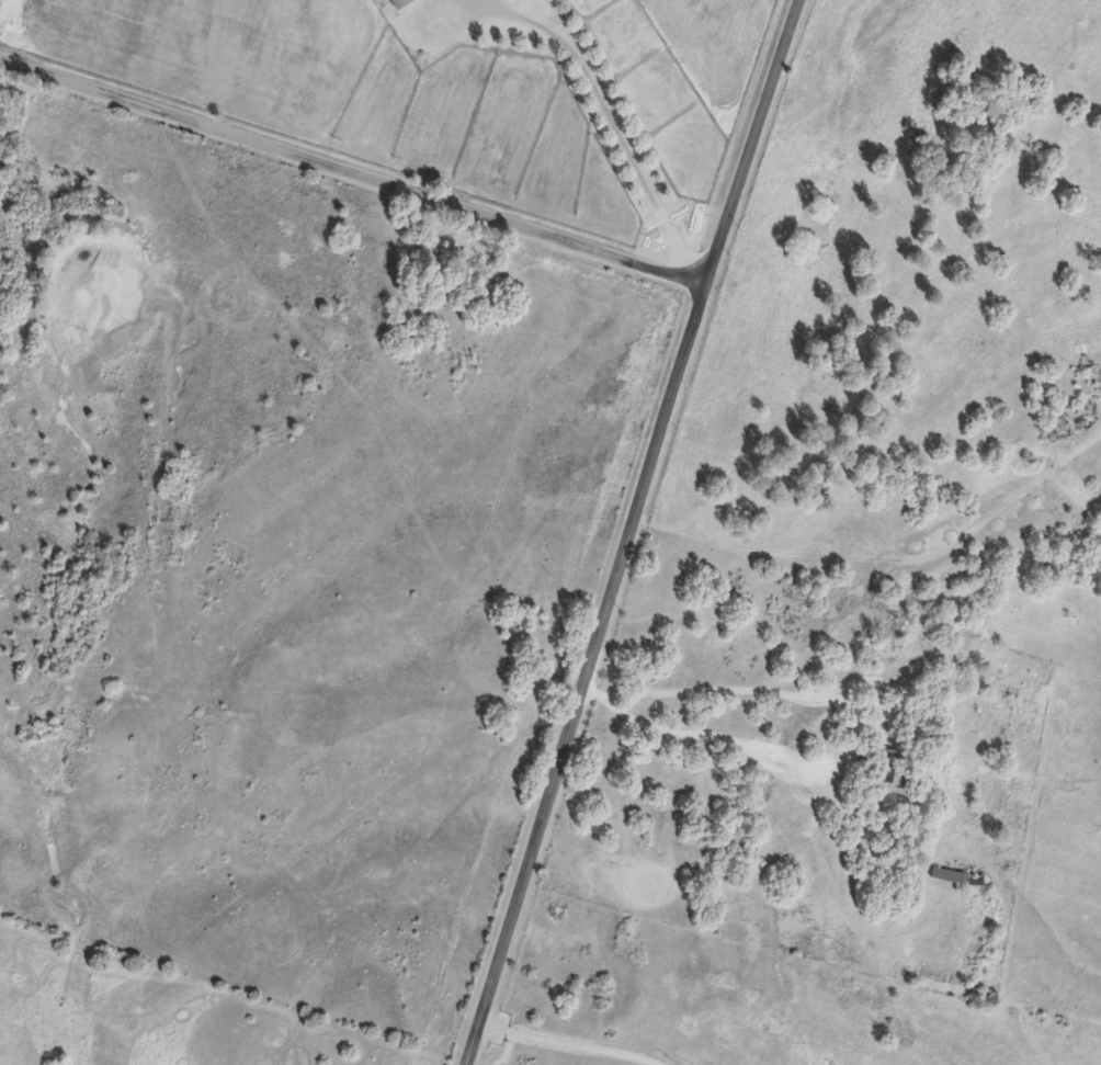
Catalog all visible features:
building: (398, 3)
road: (609, 125)
road: (350, 173)
road: (627, 532)
road: (838, 741)
road: (566, 1043)

